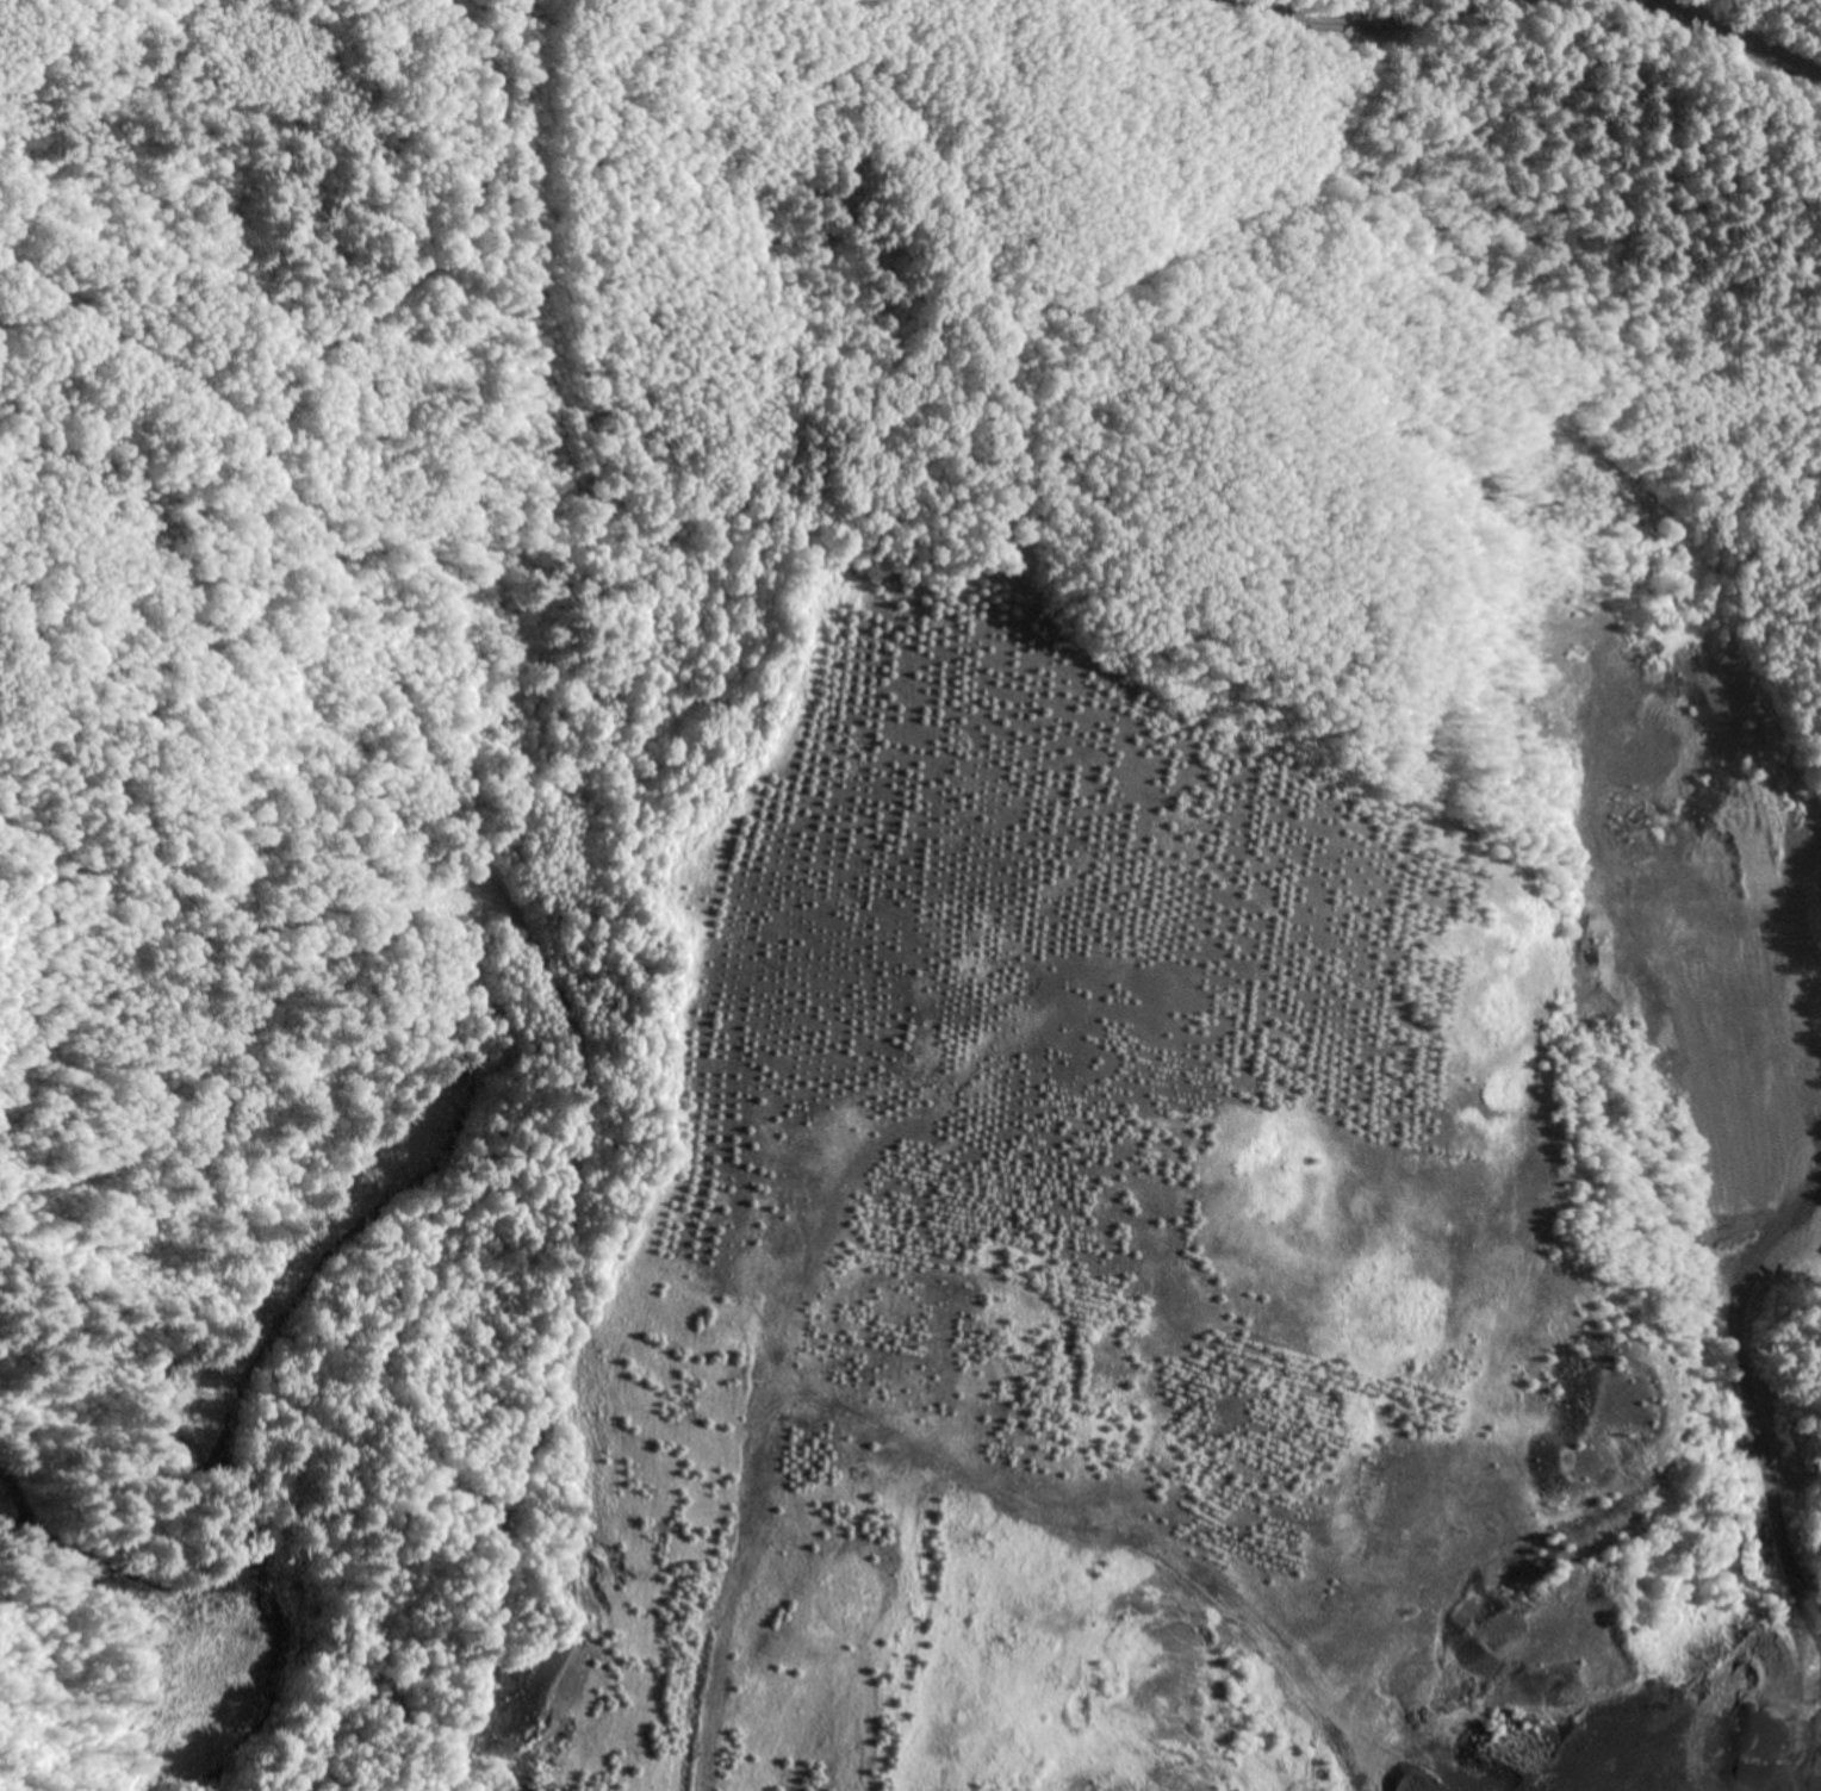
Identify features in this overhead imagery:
road: (1345, 30)
road: (1729, 42)
road: (300, 521)
quarry: (910, 895)
road: (361, 904)
quarry: (1224, 1224)
road: (516, 1470)

